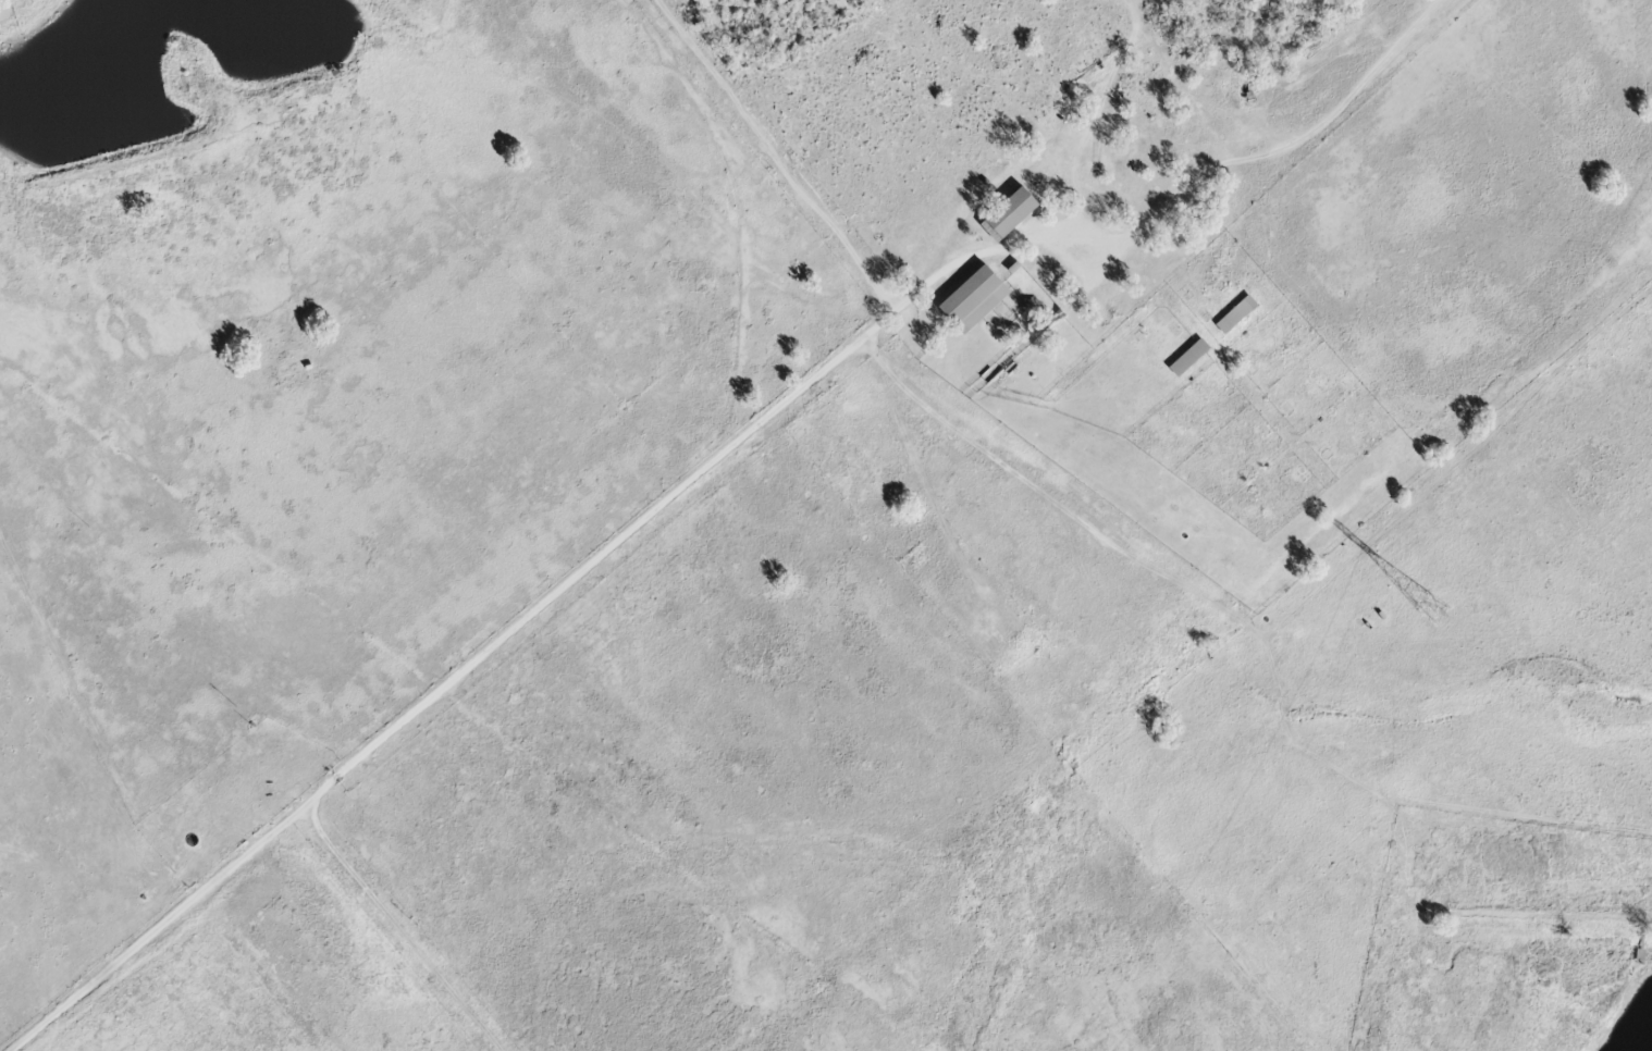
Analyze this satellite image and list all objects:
building: (1004, 215)
building: (969, 301)
building: (1232, 316)
building: (1185, 359)
road: (544, 597)
power tower: (1430, 608)

